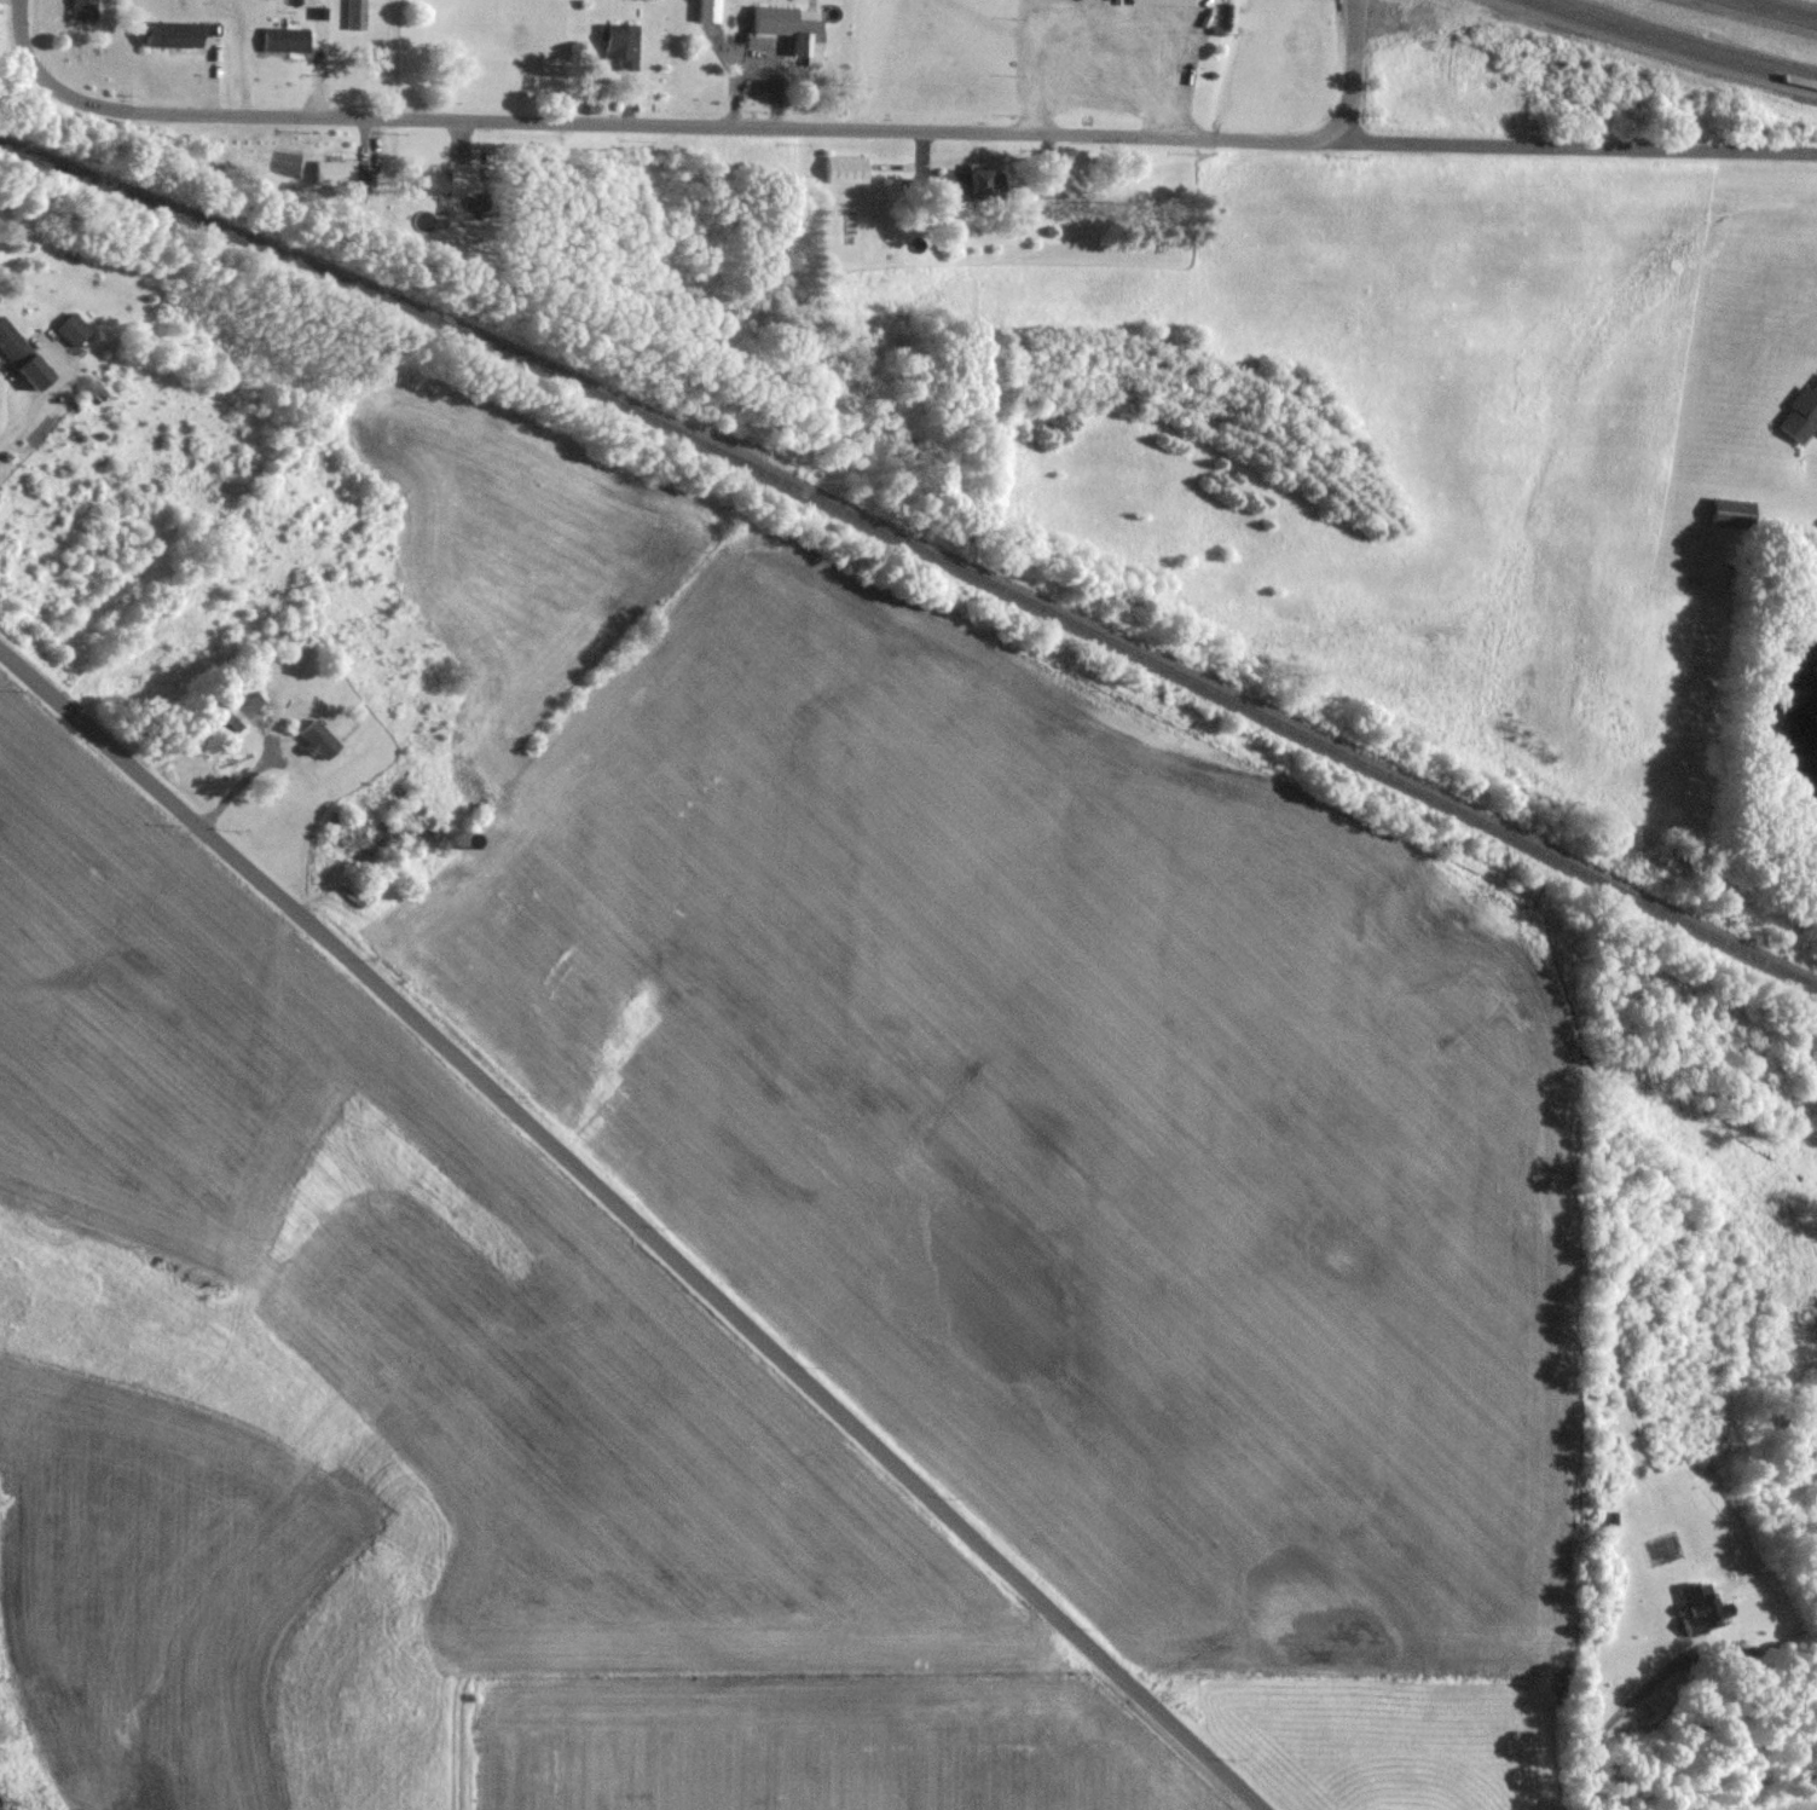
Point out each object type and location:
building: (83, 11)
road: (1777, 11)
building: (357, 16)
building: (791, 28)
building: (170, 35)
building: (284, 40)
road: (1677, 42)
building: (620, 47)
road: (395, 59)
road: (1035, 68)
road: (1352, 71)
road: (649, 126)
road: (1581, 148)
building: (844, 170)
building: (334, 174)
building: (424, 184)
building: (970, 184)
building: (71, 330)
building: (12, 347)
road: (44, 392)
building: (1800, 417)
building: (1731, 515)
railway: (915, 544)
building: (237, 707)
building: (316, 742)
building: (349, 846)
road: (633, 1226)
road: (1608, 1722)

